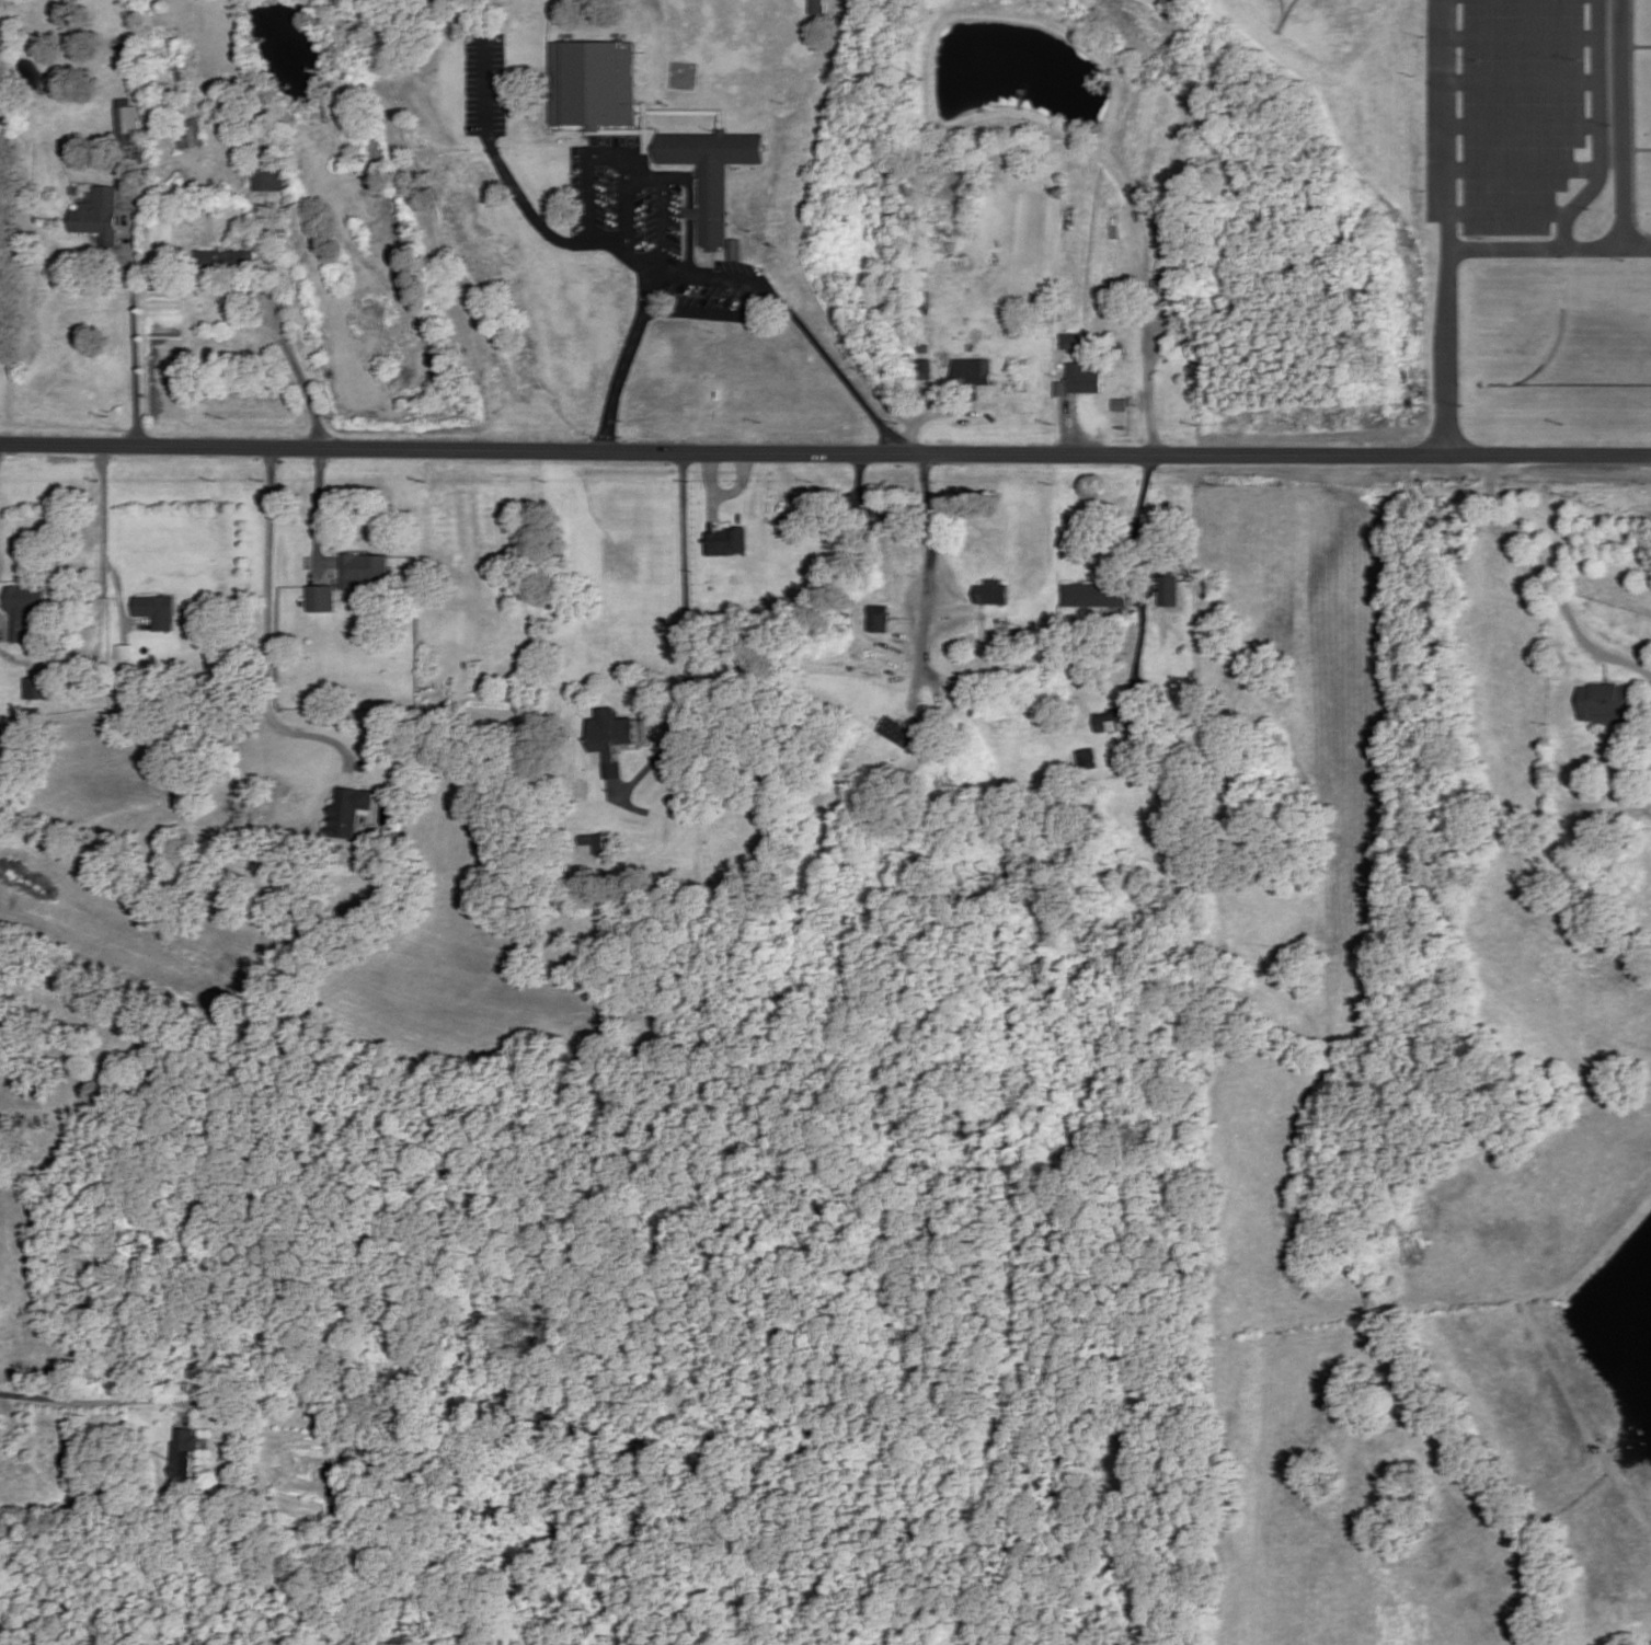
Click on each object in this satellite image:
building: (816, 7)
road: (1525, 38)
road: (1641, 48)
road: (1525, 83)
building: (595, 84)
parking lot: (483, 85)
road: (519, 87)
pier: (1019, 101)
building: (2, 114)
building: (126, 118)
parking lot: (1513, 118)
road: (1632, 123)
road: (1621, 125)
road: (1525, 126)
road: (1451, 128)
road: (1600, 131)
building: (188, 134)
road: (1641, 150)
road: (611, 158)
road: (1524, 170)
building: (712, 174)
building: (268, 176)
parking lot: (624, 199)
road: (520, 200)
road: (664, 212)
building: (100, 216)
road: (1509, 216)
road: (1137, 219)
building: (1173, 229)
building: (271, 256)
road: (1452, 256)
building: (228, 263)
road: (712, 266)
road: (727, 280)
parking lot: (714, 294)
building: (1162, 295)
building: (922, 302)
road: (133, 325)
building: (1075, 343)
road: (289, 361)
building: (971, 378)
building: (1081, 381)
building: (1060, 387)
building: (1121, 405)
building: (1172, 416)
road: (1063, 417)
building: (1096, 418)
road: (918, 423)
road: (825, 453)
road: (725, 494)
road: (712, 510)
building: (890, 510)
road: (317, 515)
road: (1136, 518)
road: (103, 519)
building: (727, 543)
building: (363, 572)
road: (1548, 583)
building: (1170, 589)
building: (990, 594)
road: (118, 595)
building: (1094, 596)
building: (321, 600)
building: (23, 610)
building: (158, 612)
building: (880, 619)
road: (1140, 629)
road: (921, 632)
road: (686, 637)
road: (268, 640)
building: (124, 653)
building: (39, 689)
building: (1606, 705)
building: (1111, 721)
building: (610, 740)
building: (1086, 760)
building: (855, 793)
building: (349, 812)
building: (677, 813)
building: (598, 842)
road: (90, 1402)
building: (184, 1452)

